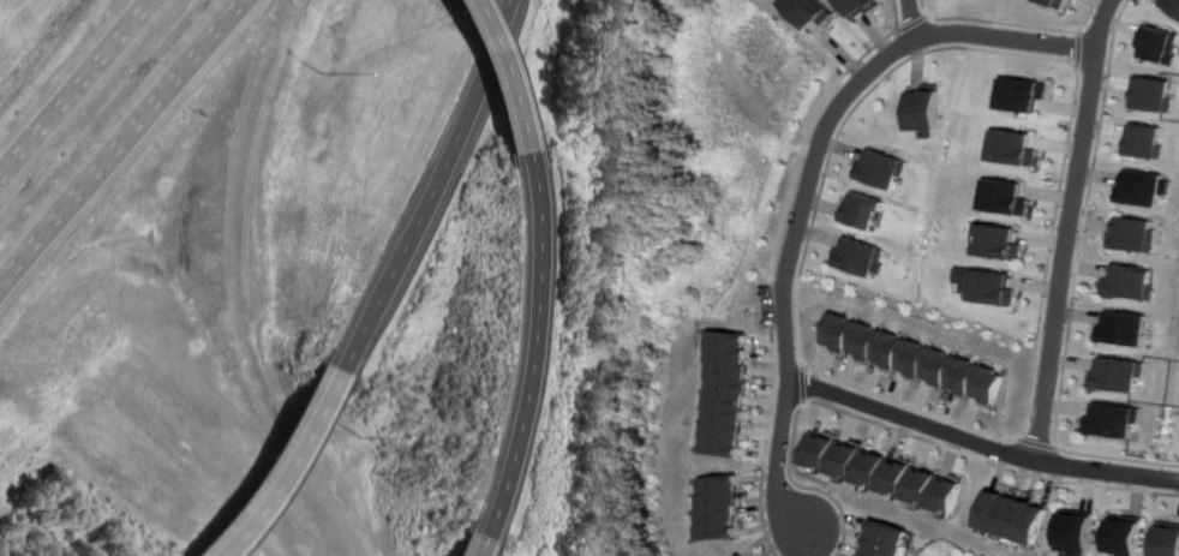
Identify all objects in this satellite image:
building: (1048, 2)
building: (855, 6)
building: (1169, 6)
road: (922, 7)
building: (806, 11)
road: (910, 19)
road: (1096, 23)
road: (910, 24)
road: (1017, 25)
road: (1004, 38)
building: (1156, 46)
road: (1075, 47)
road: (894, 68)
road: (492, 73)
road: (77, 91)
building: (1019, 94)
building: (1149, 94)
building: (924, 108)
road: (808, 125)
building: (1142, 142)
building: (1012, 147)
road: (124, 148)
building: (882, 168)
road: (425, 186)
building: (1142, 187)
road: (806, 191)
building: (1006, 197)
building: (864, 209)
building: (1133, 234)
building: (1000, 241)
road: (1066, 255)
building: (860, 257)
road: (1077, 282)
building: (1131, 282)
building: (994, 287)
building: (1124, 328)
road: (521, 346)
building: (911, 357)
building: (1119, 373)
road: (798, 385)
building: (719, 395)
road: (766, 406)
building: (1113, 419)
road: (911, 420)
road: (896, 429)
road: (1042, 444)
road: (774, 461)
road: (286, 468)
building: (882, 471)
road: (1108, 471)
building: (712, 508)
building: (1016, 516)
building: (1077, 531)
building: (1125, 534)
building: (1167, 538)
building: (886, 540)
road: (469, 546)
building: (734, 555)

